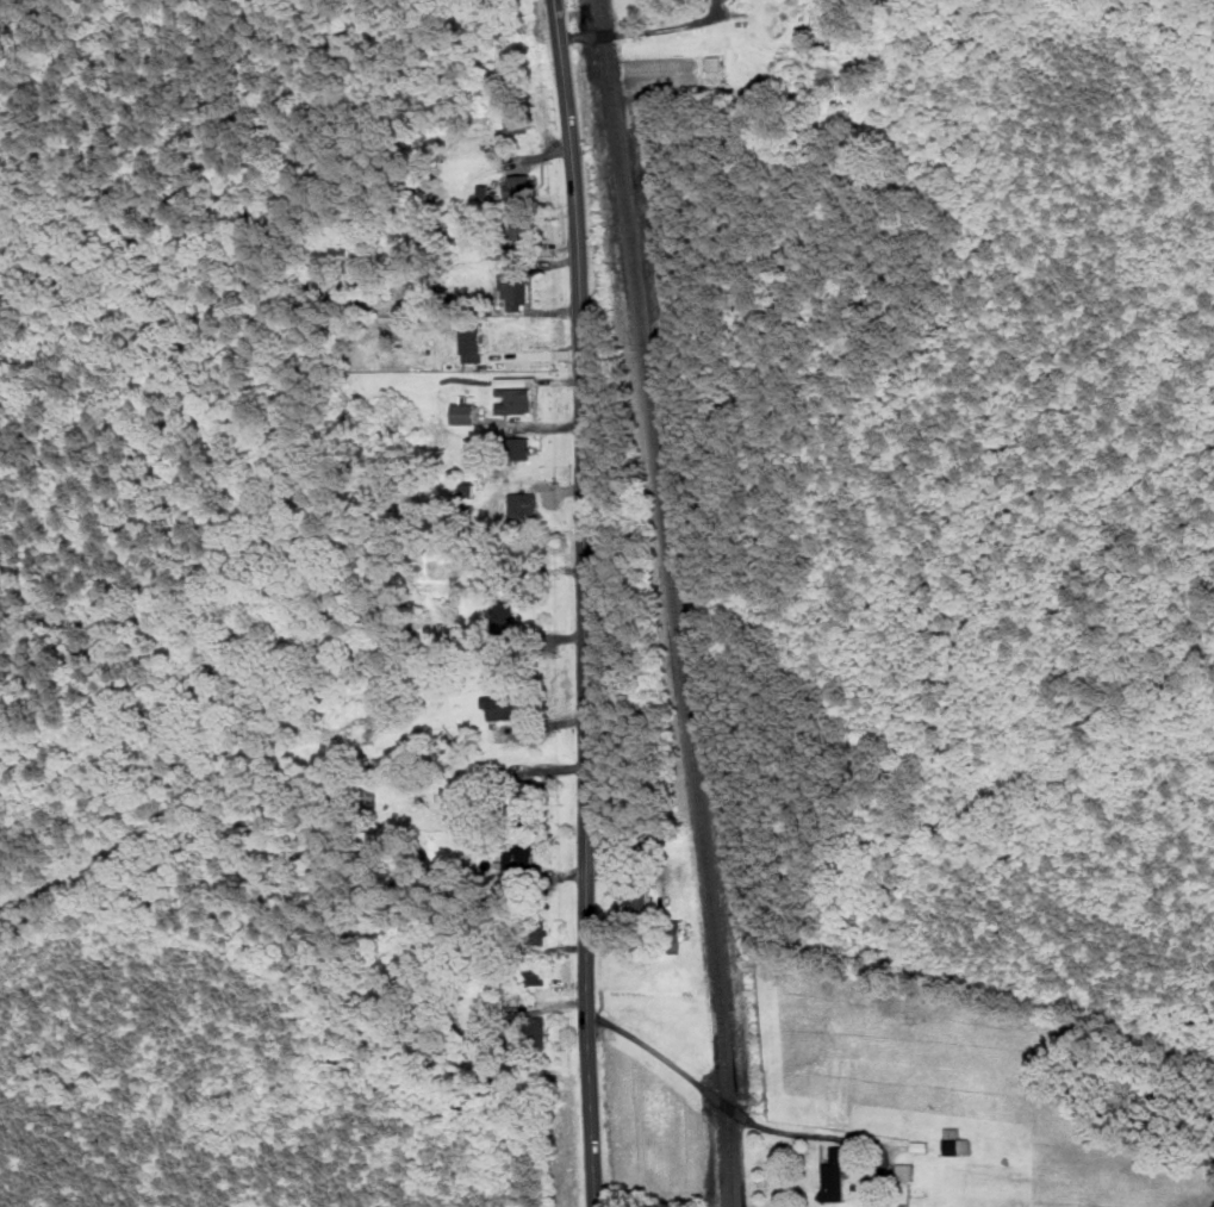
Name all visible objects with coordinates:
road: (641, 32)
building: (518, 120)
building: (522, 185)
building: (519, 231)
building: (515, 291)
building: (473, 342)
building: (516, 396)
building: (465, 413)
building: (521, 447)
building: (523, 503)
building: (522, 556)
road: (585, 602)
railway: (678, 602)
building: (505, 615)
building: (502, 707)
building: (518, 795)
building: (524, 858)
building: (637, 900)
building: (536, 932)
building: (676, 932)
building: (534, 972)
building: (537, 1031)
road: (762, 1125)
building: (955, 1143)
building: (920, 1146)
building: (905, 1171)
building: (834, 1176)

